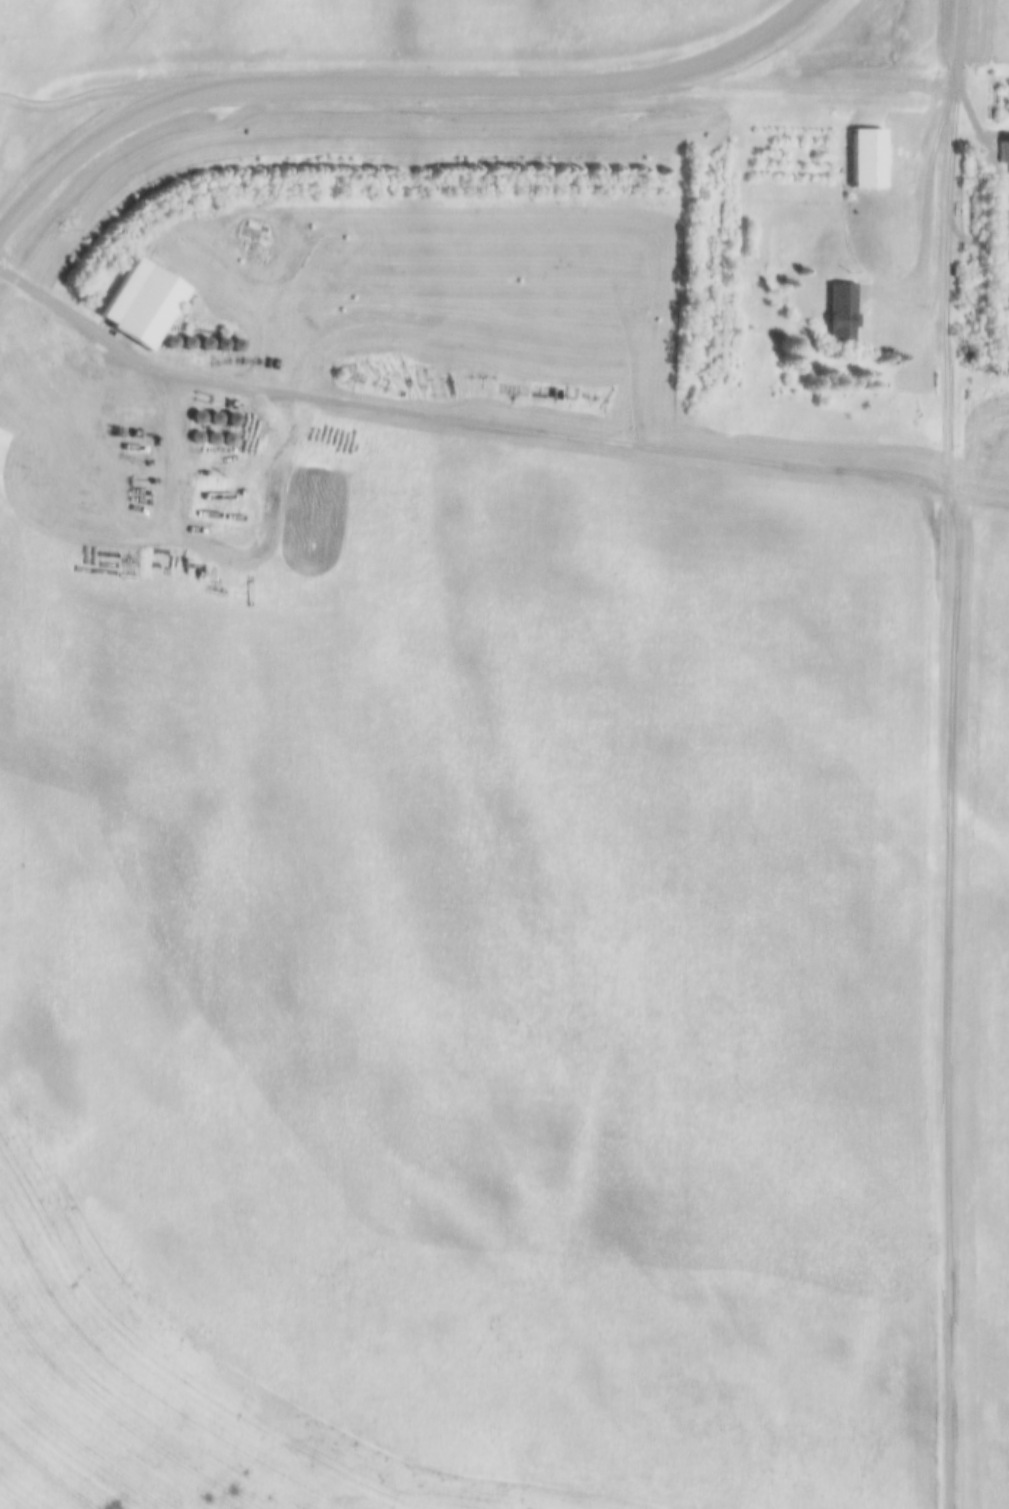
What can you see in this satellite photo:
road: (962, 44)
road: (800, 85)
road: (393, 86)
road: (984, 139)
building: (873, 157)
road: (955, 186)
road: (930, 208)
building: (149, 303)
building: (847, 310)
road: (107, 340)
building: (175, 341)
silo: (175, 341)
building: (191, 342)
silo: (191, 342)
building: (209, 343)
silo: (209, 343)
building: (224, 344)
silo: (224, 344)
building: (240, 345)
silo: (240, 345)
building: (202, 417)
silo: (202, 417)
building: (219, 418)
silo: (219, 418)
building: (236, 419)
silo: (236, 419)
building: (201, 437)
silo: (201, 437)
building: (217, 438)
silo: (217, 438)
building: (233, 439)
silo: (233, 439)
road: (970, 630)

